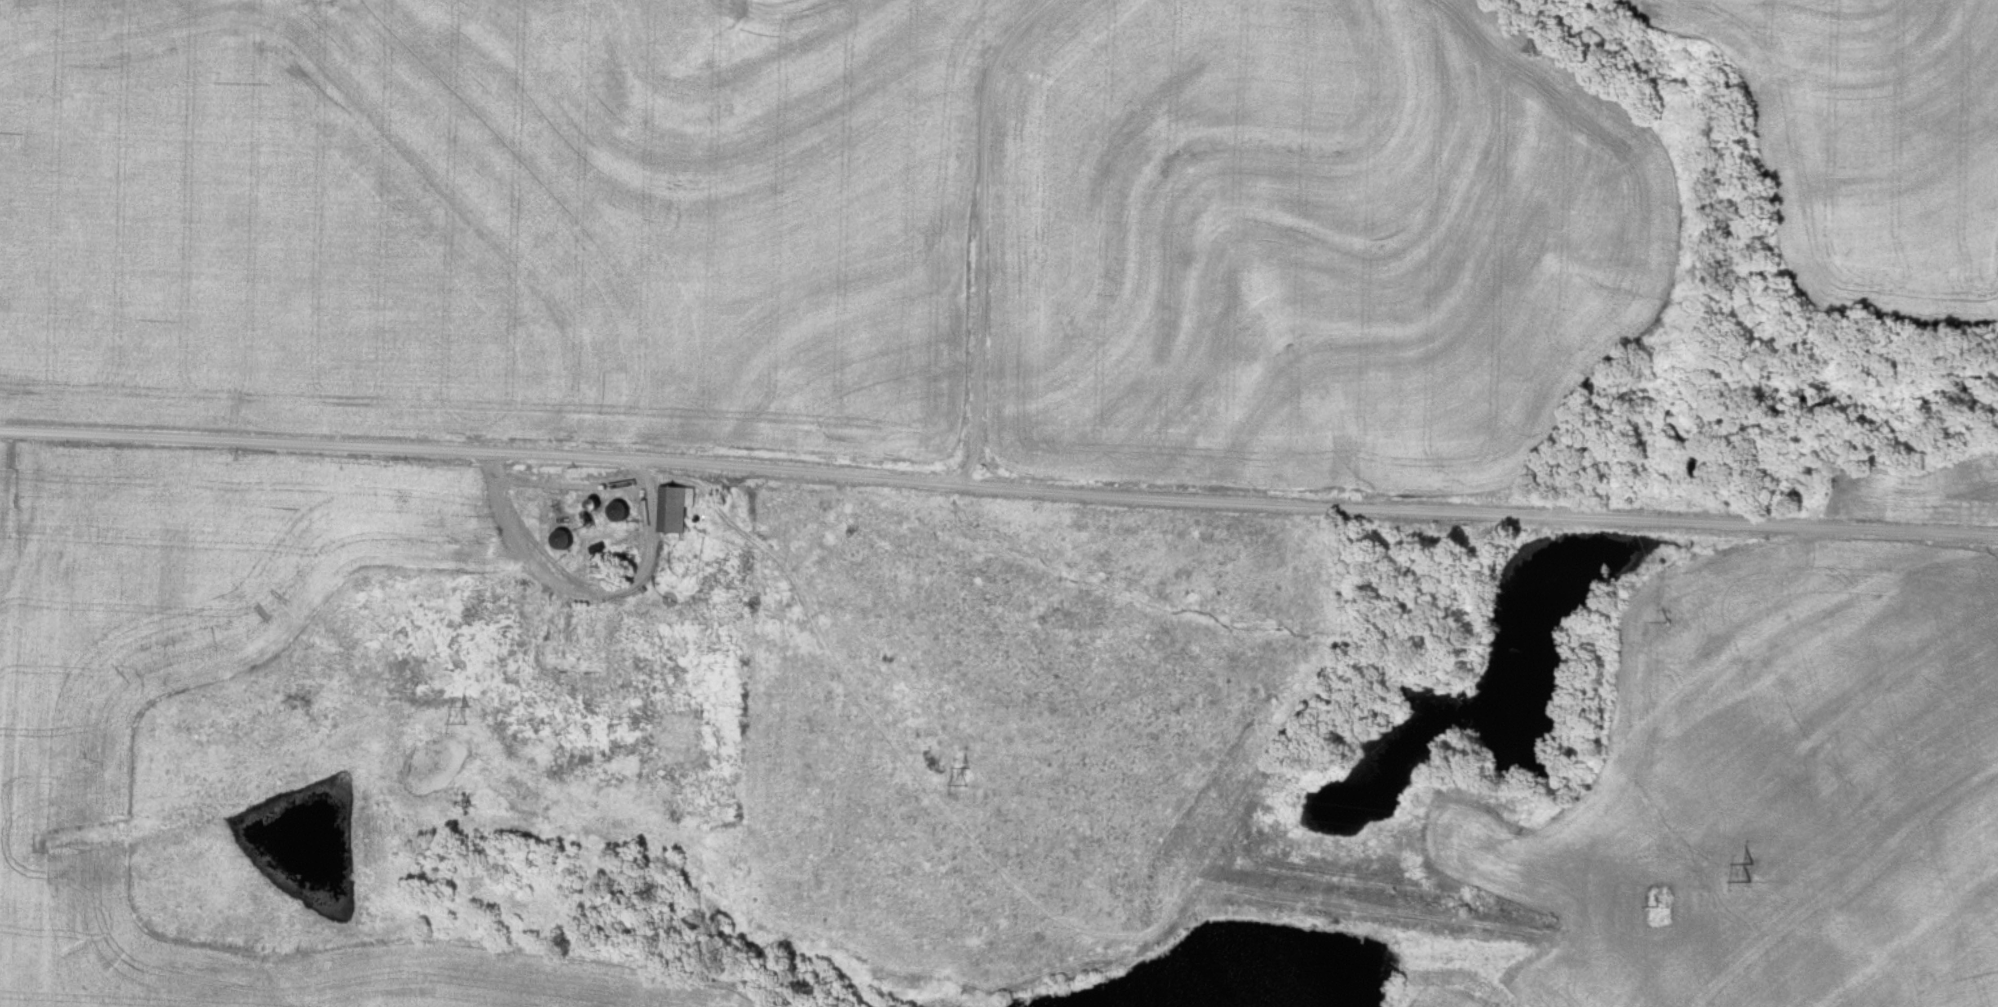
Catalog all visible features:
road: (987, 228)
road: (999, 482)
road: (561, 483)
building: (673, 509)
building: (616, 511)
building: (555, 540)
power tower: (463, 716)
power tower: (972, 778)
power tower: (1752, 872)

